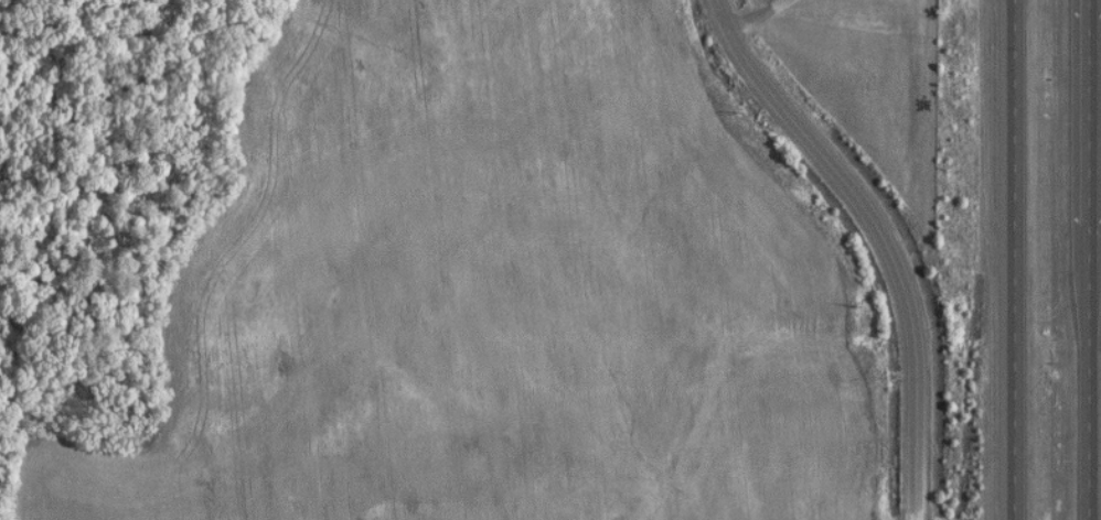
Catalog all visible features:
road: (874, 236)
road: (1008, 260)
road: (1083, 260)

